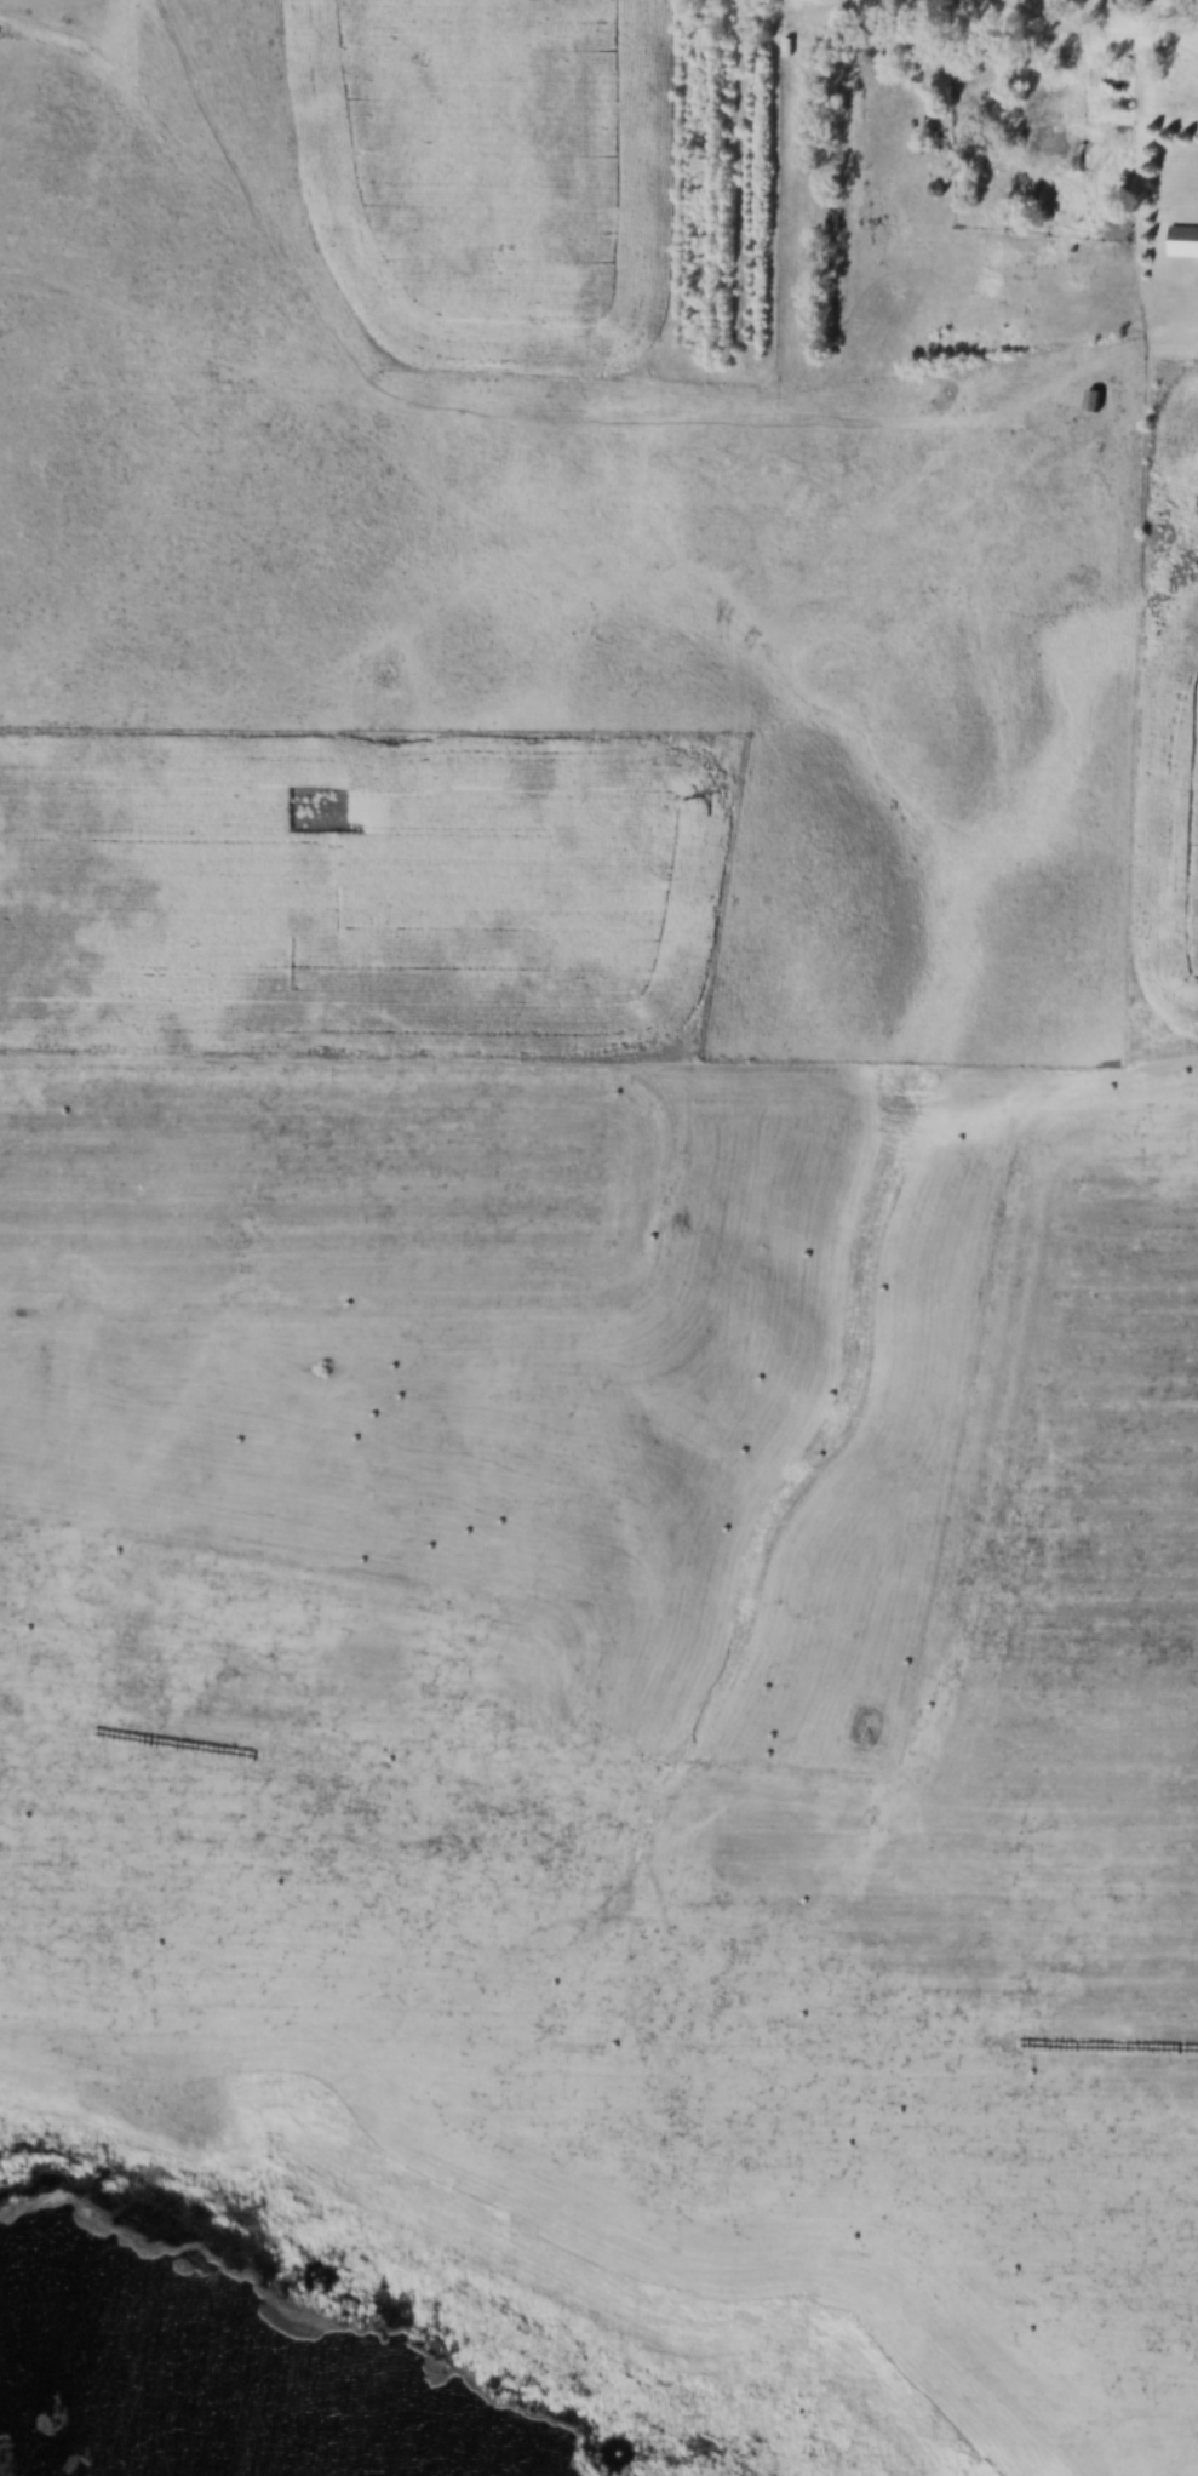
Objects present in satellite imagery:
building: (1181, 240)
building: (1089, 400)

